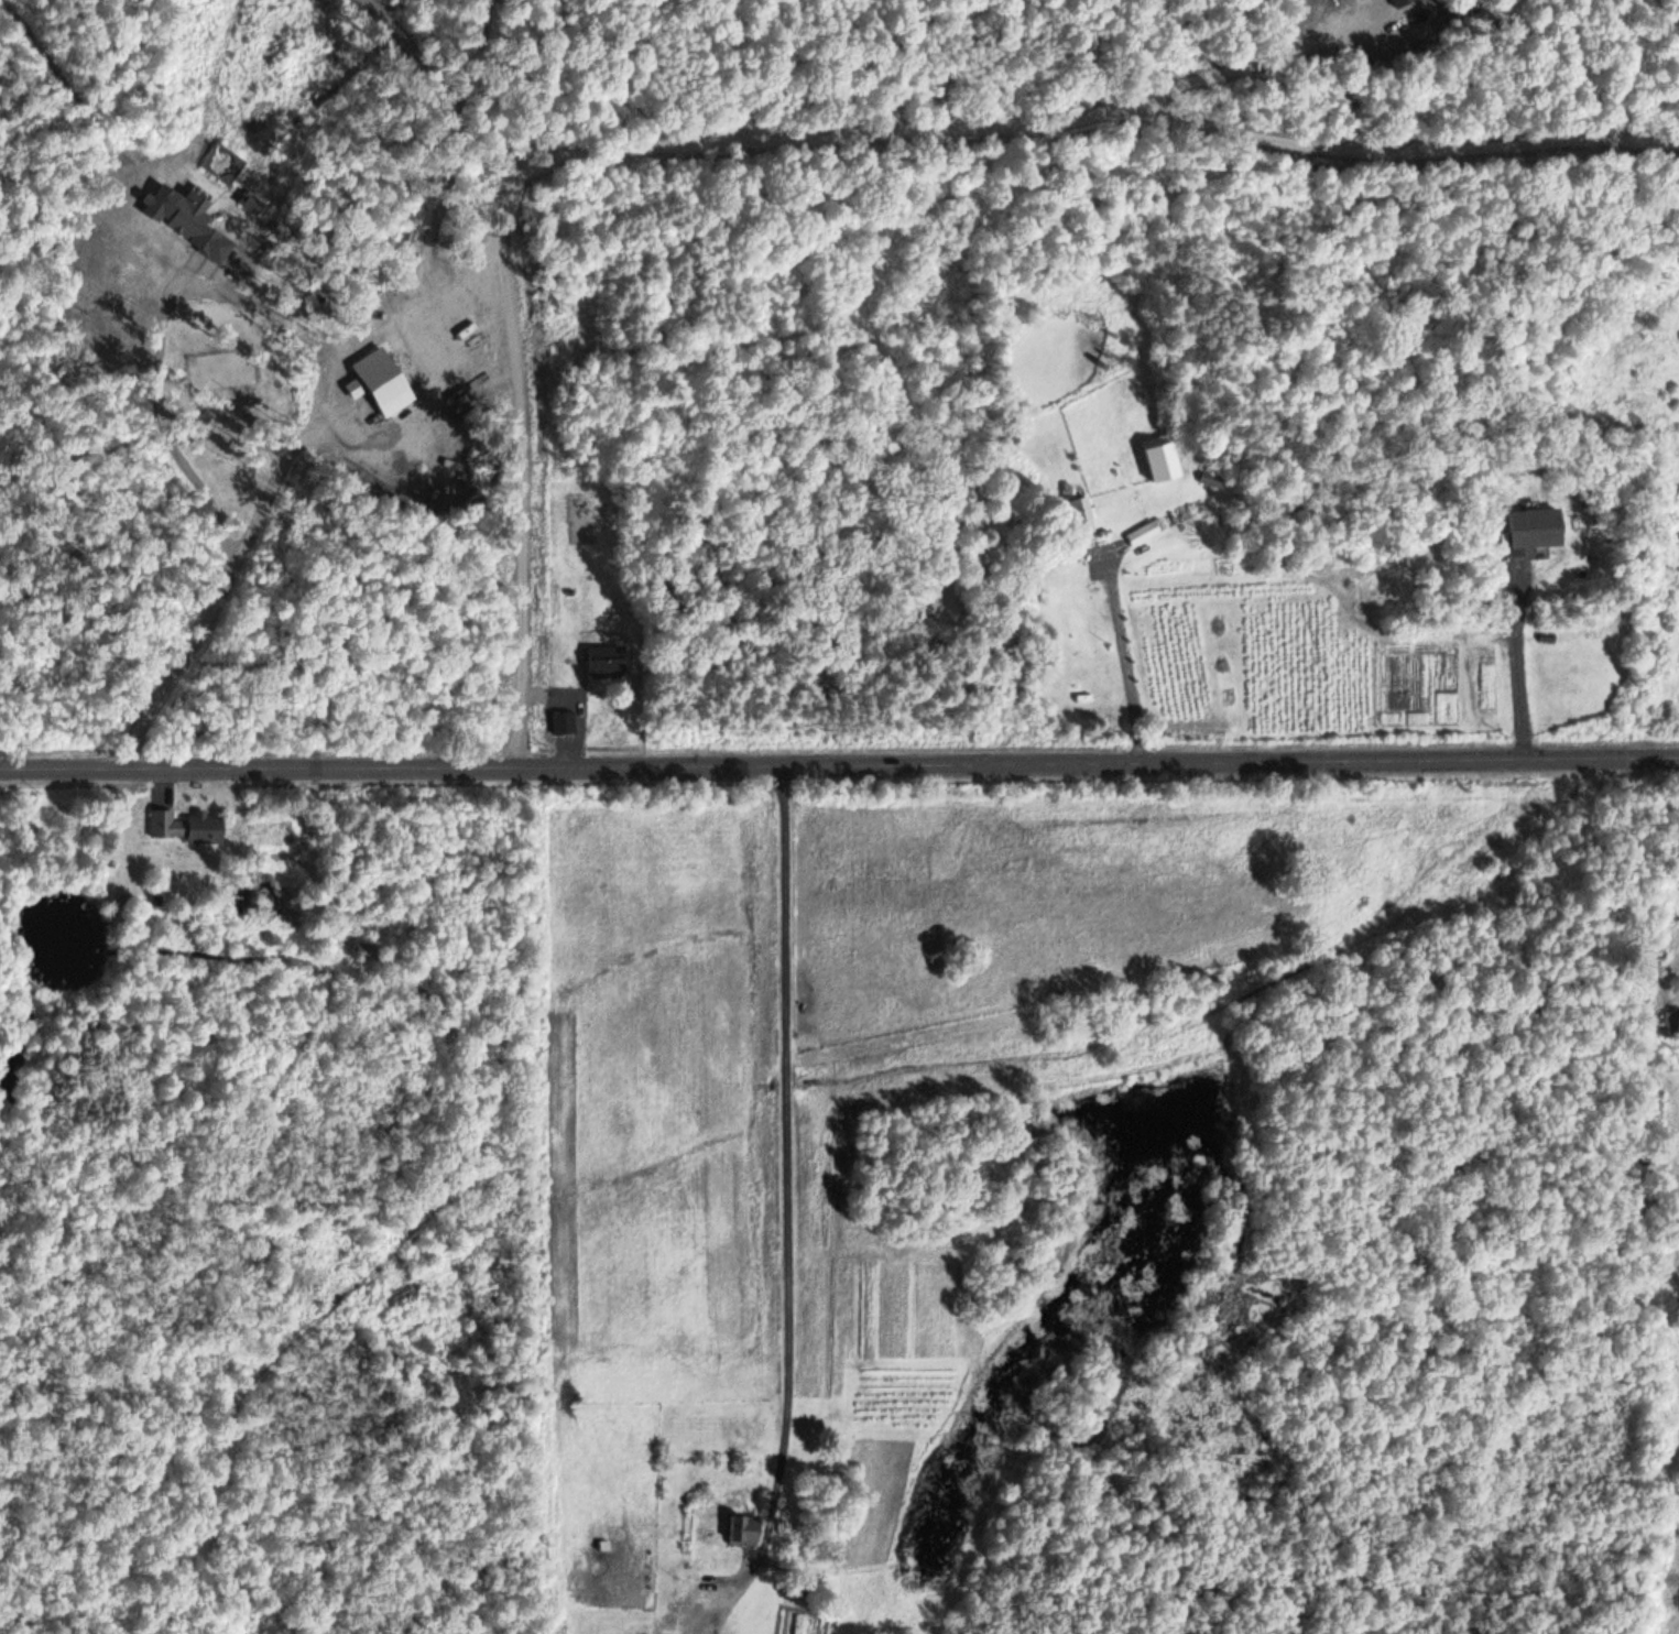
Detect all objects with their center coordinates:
building: (194, 209)
building: (313, 306)
building: (383, 379)
road: (168, 416)
building: (1168, 465)
building: (1212, 478)
building: (1080, 513)
building: (1141, 533)
road: (225, 581)
building: (604, 658)
road: (1124, 661)
building: (563, 721)
road: (839, 762)
building: (187, 823)
building: (1672, 1024)
road: (785, 1191)
building: (742, 1527)
building: (645, 1633)

